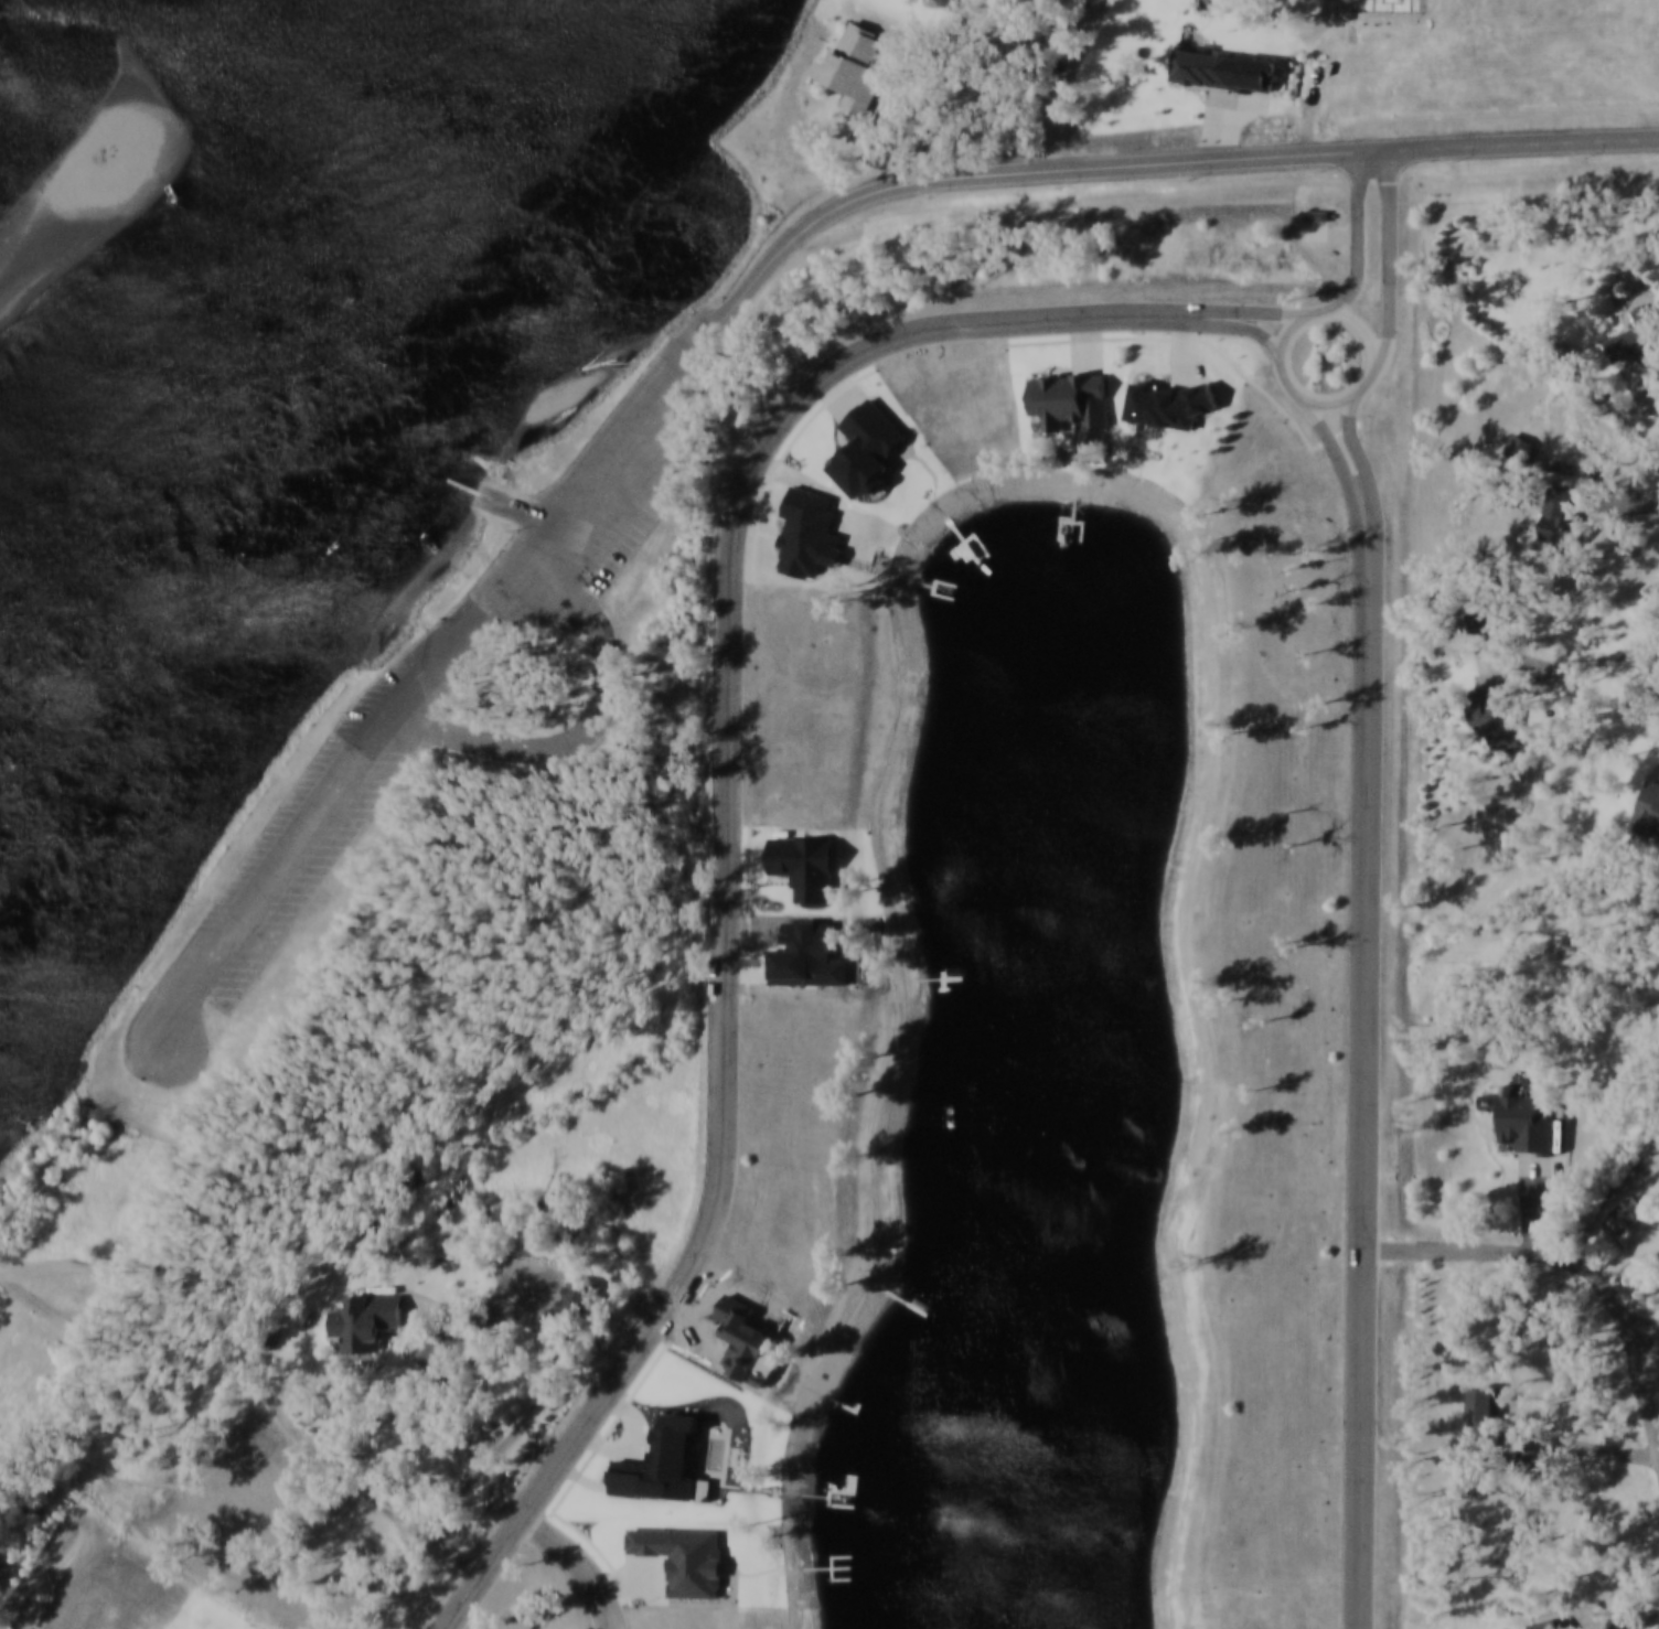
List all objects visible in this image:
building: (957, 6)
building: (852, 67)
building: (1231, 67)
road: (1068, 81)
road: (1223, 122)
road: (902, 132)
building: (1319, 215)
road: (1332, 233)
road: (1360, 234)
road: (1391, 264)
road: (748, 290)
road: (1262, 313)
road: (1253, 328)
building: (1637, 335)
road: (1071, 341)
road: (1090, 345)
building: (1565, 357)
road: (1286, 373)
road: (1638, 384)
road: (1609, 396)
building: (1068, 397)
road: (1658, 401)
road: (1302, 431)
building: (1520, 447)
river: (317, 449)
road: (1367, 463)
road: (1347, 464)
road: (1597, 473)
parking lot: (627, 493)
road: (506, 502)
road: (1606, 507)
building: (1558, 519)
building: (1478, 622)
building: (552, 657)
road: (529, 665)
road: (1492, 668)
road: (1564, 669)
building: (514, 675)
building: (507, 684)
road: (1533, 686)
building: (1495, 716)
road: (593, 724)
parking lot: (331, 810)
building: (1648, 811)
road: (729, 827)
road: (1371, 1080)
building: (1523, 1122)
road: (1533, 1202)
building: (1627, 1213)
road: (1645, 1229)
road: (1657, 1236)
road: (1627, 1255)
road: (1570, 1264)
road: (535, 1288)
building: (579, 1303)
road: (440, 1314)
building: (367, 1322)
road: (555, 1333)
road: (1648, 1333)
road: (254, 1369)
building: (1486, 1416)
road: (1578, 1448)
road: (582, 1564)
building: (4, 1575)
road: (1616, 1620)
building: (1552, 1626)

